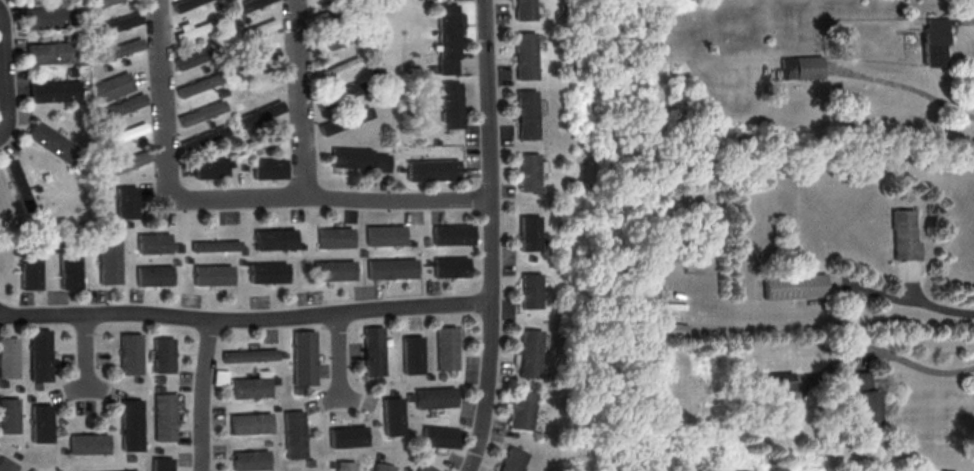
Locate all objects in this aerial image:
building: (99, 2)
building: (183, 4)
building: (244, 5)
building: (524, 10)
building: (98, 11)
building: (337, 12)
building: (46, 16)
building: (243, 18)
building: (116, 23)
building: (195, 28)
building: (256, 28)
building: (446, 30)
building: (348, 33)
building: (935, 41)
building: (118, 49)
building: (51, 52)
building: (373, 52)
building: (197, 55)
building: (525, 55)
building: (256, 57)
building: (123, 60)
building: (446, 65)
building: (105, 67)
building: (802, 67)
building: (203, 68)
building: (338, 68)
building: (432, 68)
road: (4, 75)
building: (235, 76)
building: (197, 84)
building: (111, 86)
building: (54, 90)
building: (346, 90)
building: (221, 91)
road: (160, 97)
road: (298, 98)
building: (449, 104)
building: (120, 106)
building: (200, 112)
building: (259, 113)
building: (525, 114)
building: (343, 120)
building: (208, 122)
building: (559, 123)
building: (118, 136)
building: (203, 137)
building: (51, 140)
building: (260, 140)
building: (434, 141)
building: (256, 150)
building: (349, 156)
building: (377, 162)
building: (125, 163)
building: (228, 163)
building: (209, 166)
building: (242, 166)
building: (267, 167)
building: (397, 167)
building: (430, 168)
building: (526, 171)
building: (18, 183)
building: (105, 184)
road: (326, 197)
building: (125, 201)
building: (127, 223)
building: (527, 233)
building: (450, 234)
building: (382, 235)
building: (904, 235)
road: (487, 236)
building: (333, 237)
building: (273, 238)
building: (424, 241)
building: (152, 242)
building: (409, 242)
building: (92, 244)
building: (213, 245)
building: (299, 245)
building: (176, 247)
building: (241, 250)
building: (360, 252)
building: (529, 256)
building: (185, 259)
building: (107, 261)
building: (240, 261)
building: (174, 262)
building: (425, 262)
building: (448, 266)
building: (389, 267)
building: (30, 270)
building: (69, 270)
building: (331, 270)
building: (265, 272)
building: (210, 274)
building: (152, 275)
building: (794, 286)
building: (529, 290)
road: (941, 306)
road: (244, 321)
building: (446, 348)
building: (372, 350)
building: (530, 352)
building: (129, 353)
building: (40, 354)
building: (246, 354)
building: (280, 354)
building: (411, 354)
road: (84, 355)
building: (162, 355)
building: (8, 357)
building: (301, 357)
road: (336, 361)
road: (928, 367)
building: (441, 375)
building: (217, 376)
building: (429, 376)
building: (271, 379)
building: (377, 380)
building: (779, 381)
building: (249, 385)
building: (392, 392)
road: (197, 395)
building: (409, 396)
building: (436, 397)
building: (864, 399)
building: (273, 408)
building: (523, 409)
building: (9, 415)
building: (162, 416)
building: (392, 416)
building: (41, 423)
building: (248, 423)
building: (130, 424)
building: (291, 434)
building: (538, 434)
building: (346, 436)
building: (441, 436)
building: (264, 442)
building: (88, 443)
building: (377, 455)
building: (514, 459)
building: (248, 460)
building: (306, 462)
building: (7, 464)
building: (160, 464)
building: (329, 464)
building: (343, 466)
building: (382, 467)
building: (426, 467)
building: (405, 468)
building: (132, 470)

